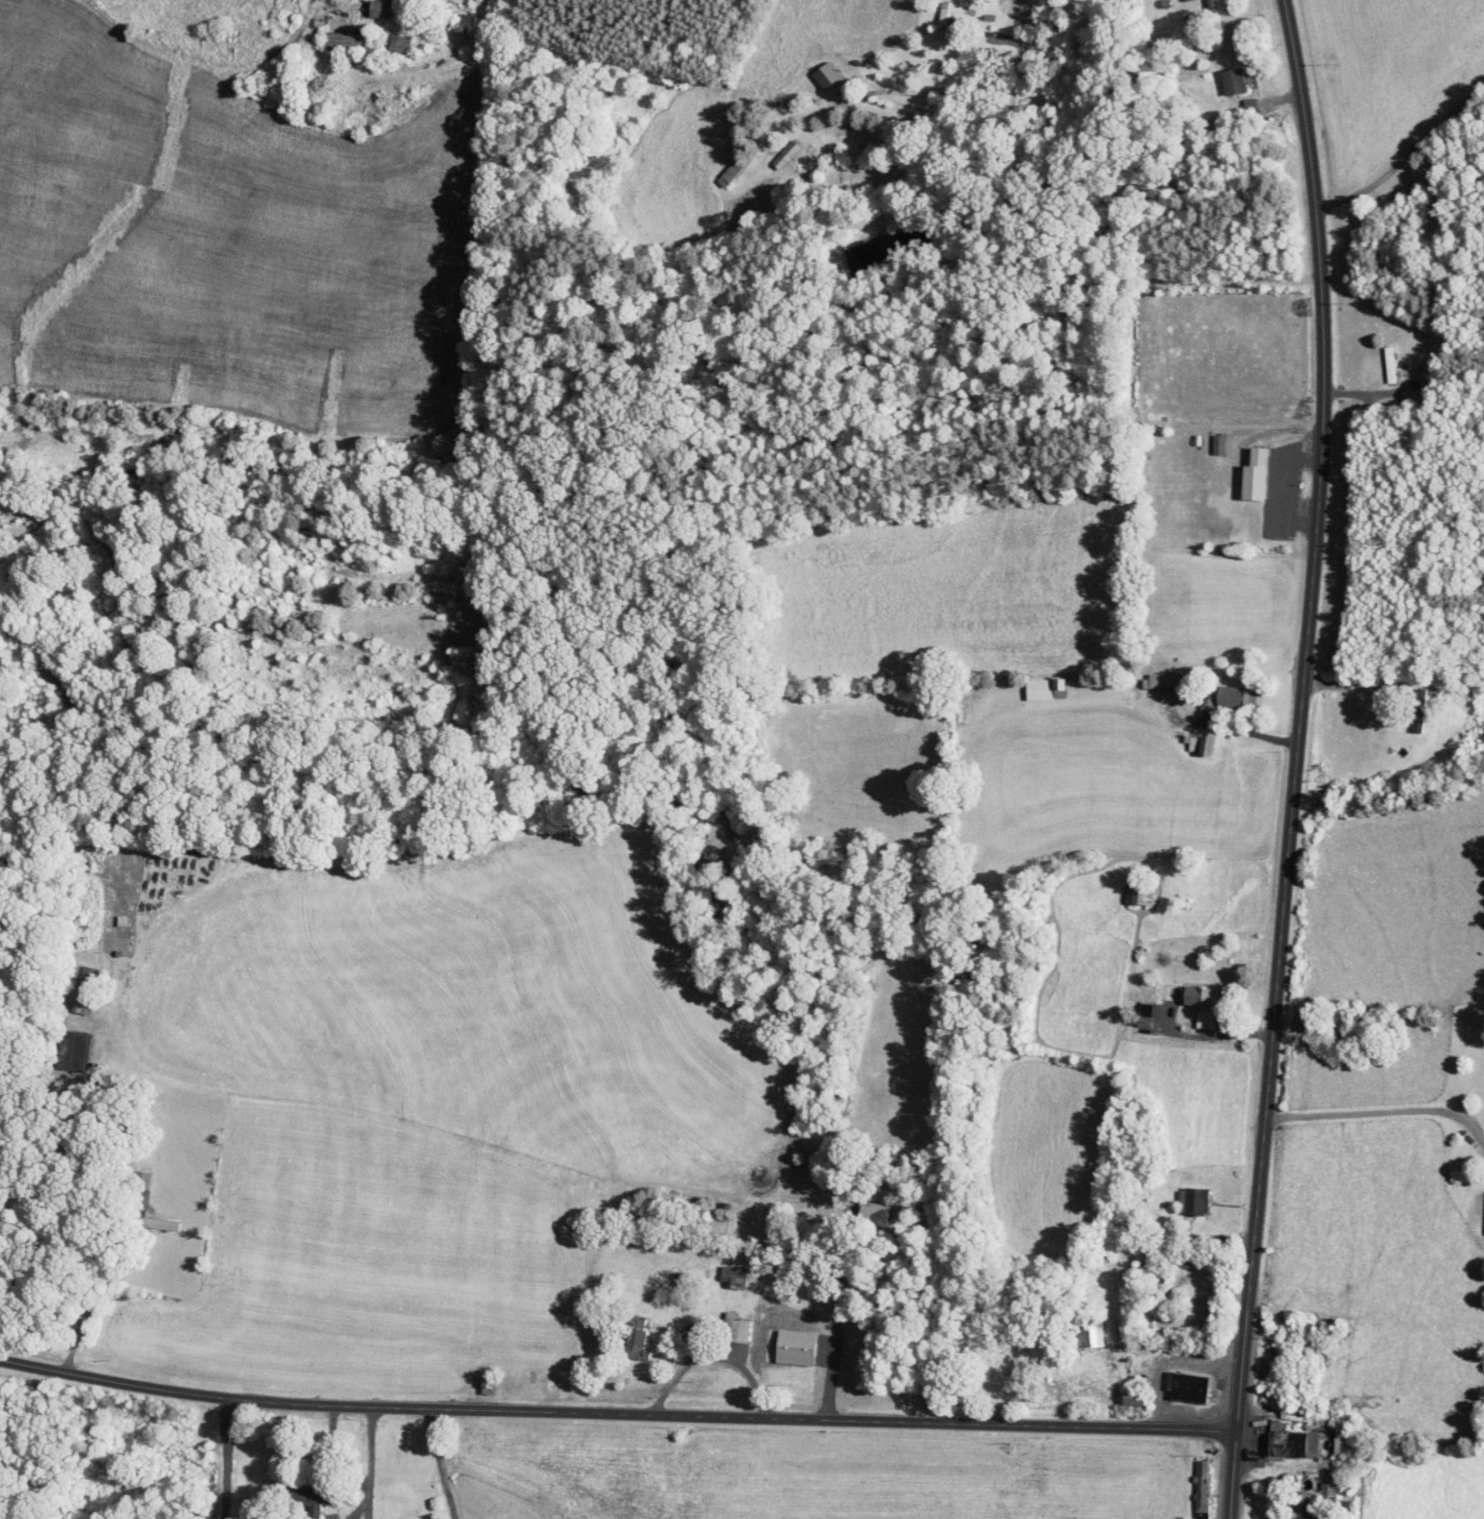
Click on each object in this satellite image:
building: (1025, 5)
building: (381, 8)
building: (944, 20)
road: (1033, 40)
building: (346, 42)
building: (400, 44)
building: (828, 78)
building: (1233, 82)
road: (1407, 166)
building: (1218, 444)
building: (1255, 474)
building: (1164, 680)
building: (1045, 688)
building: (1221, 696)
building: (1419, 716)
building: (1205, 744)
road: (1295, 758)
building: (1200, 1004)
building: (77, 1048)
road: (1381, 1112)
building: (1193, 1201)
building: (161, 1224)
building: (1190, 1257)
building: (732, 1276)
building: (735, 1328)
building: (635, 1335)
building: (1090, 1336)
building: (795, 1347)
road: (711, 1356)
building: (1188, 1386)
road: (616, 1415)
building: (1292, 1441)
road: (224, 1461)
road: (368, 1465)
road: (441, 1465)
building: (1201, 1485)
building: (1300, 1505)
building: (309, 1507)
building: (1202, 1515)

